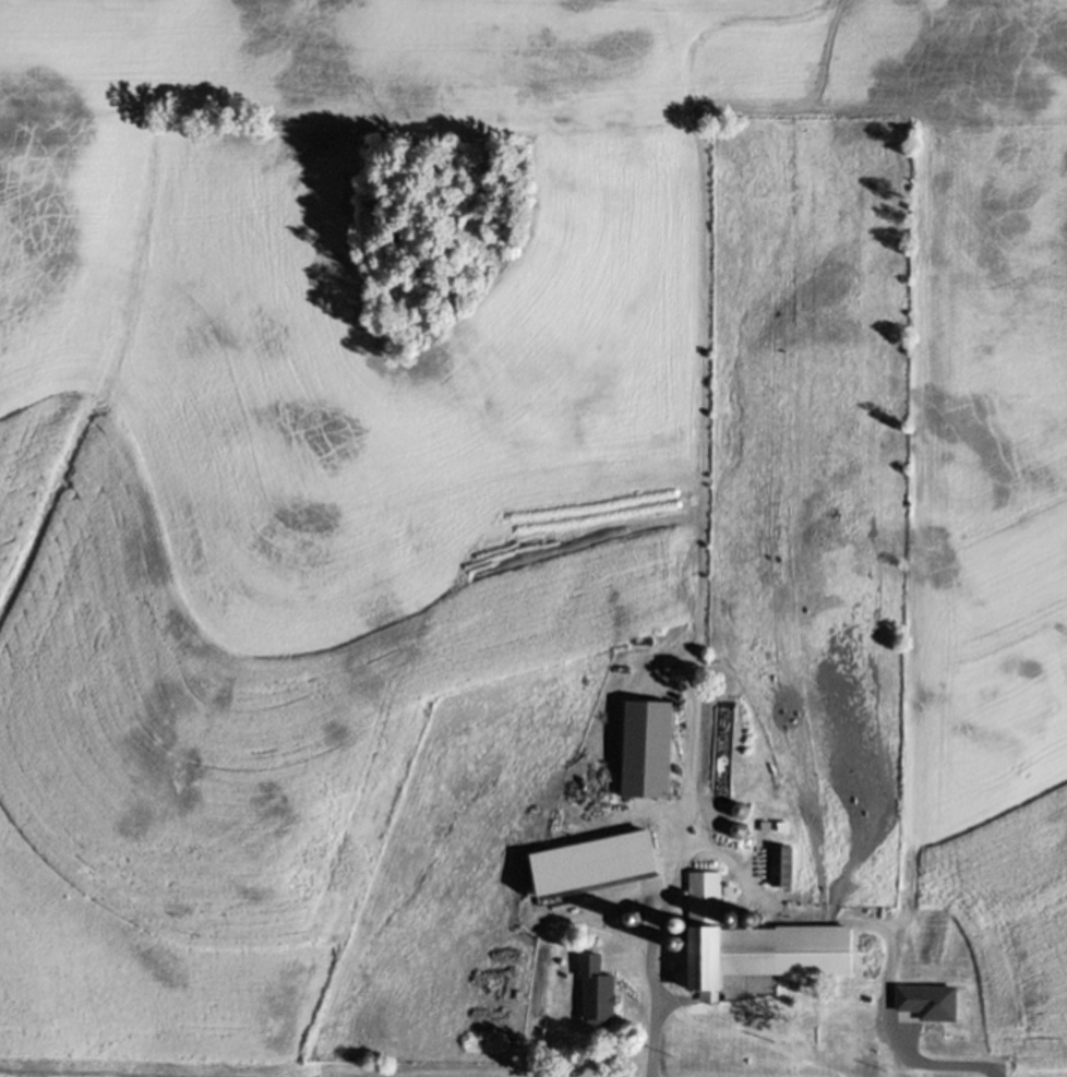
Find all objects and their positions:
building: (644, 743)
building: (676, 761)
building: (644, 846)
building: (782, 864)
road: (669, 888)
building: (616, 889)
building: (747, 943)
building: (595, 990)
building: (867, 1048)

